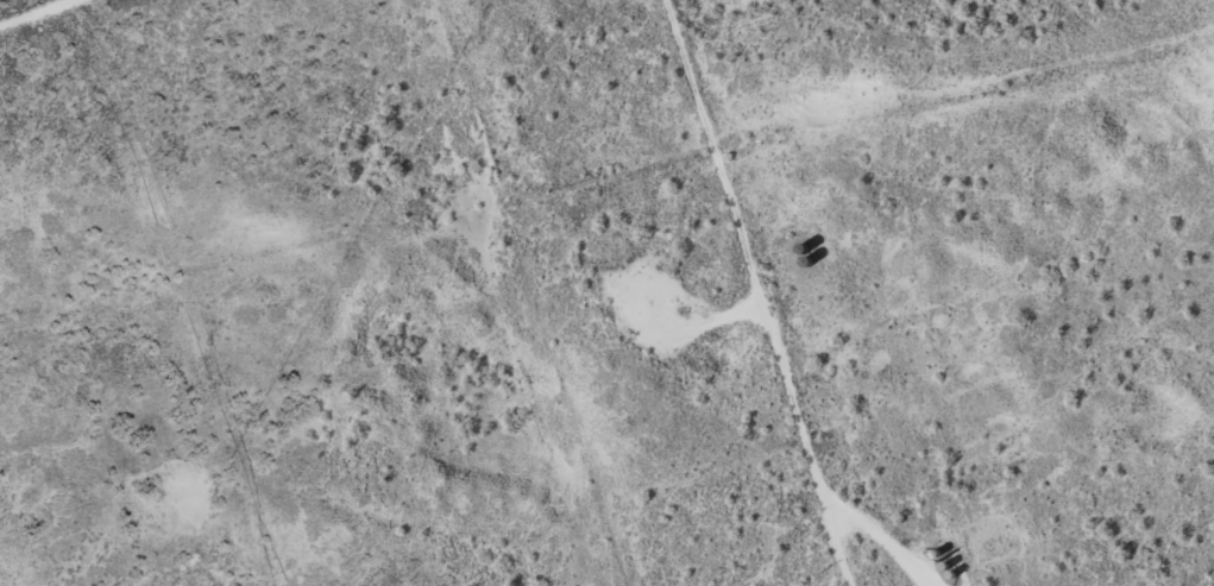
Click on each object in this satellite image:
road: (81, 31)
road: (31, 233)
road: (742, 292)
road: (140, 429)

